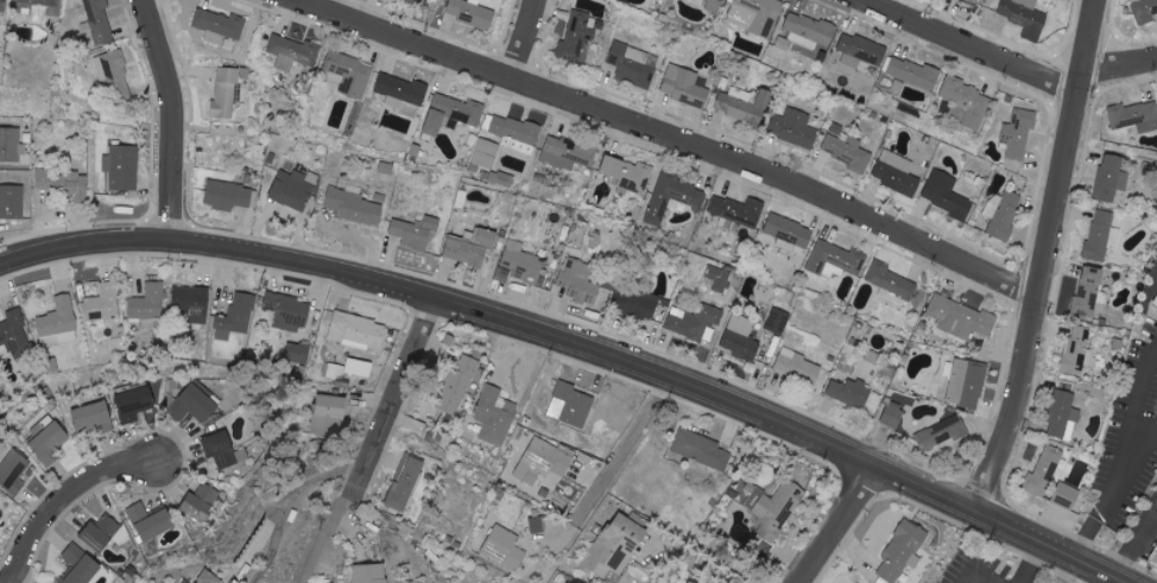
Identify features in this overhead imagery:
building: (418, 1)
road: (873, 1)
building: (967, 1)
building: (4, 5)
building: (713, 5)
building: (40, 7)
building: (1144, 11)
building: (472, 13)
building: (753, 14)
building: (1025, 17)
building: (100, 20)
building: (219, 25)
building: (808, 30)
building: (577, 36)
road: (521, 38)
road: (973, 46)
building: (860, 50)
building: (292, 51)
building: (634, 64)
road: (1120, 69)
building: (912, 72)
building: (350, 74)
building: (113, 75)
building: (684, 87)
building: (227, 90)
building: (402, 90)
building: (967, 101)
building: (744, 107)
building: (453, 114)
building: (1134, 116)
road: (181, 121)
building: (794, 127)
building: (516, 133)
building: (1019, 133)
road: (669, 137)
building: (11, 144)
building: (845, 148)
building: (485, 153)
building: (567, 153)
building: (122, 166)
building: (386, 169)
building: (628, 173)
building: (897, 173)
building: (501, 178)
building: (1111, 178)
building: (65, 183)
building: (292, 190)
building: (228, 195)
building: (947, 195)
building: (672, 197)
building: (12, 201)
building: (354, 205)
building: (738, 210)
building: (1003, 213)
building: (416, 232)
building: (788, 233)
building: (1102, 234)
building: (472, 246)
building: (836, 258)
road: (1044, 260)
building: (521, 262)
building: (716, 278)
building: (578, 279)
building: (891, 283)
road: (410, 284)
building: (1153, 299)
building: (103, 303)
building: (191, 303)
building: (633, 303)
building: (289, 311)
building: (236, 316)
building: (961, 317)
building: (778, 321)
building: (695, 322)
building: (58, 323)
building: (358, 331)
building: (15, 334)
building: (740, 338)
building: (1077, 350)
building: (297, 355)
building: (798, 367)
building: (334, 370)
building: (967, 382)
building: (456, 386)
building: (849, 393)
building: (134, 403)
building: (196, 404)
building: (570, 404)
building: (330, 413)
building: (892, 414)
building: (495, 416)
building: (1062, 416)
building: (94, 417)
road: (1131, 419)
building: (942, 433)
building: (48, 437)
building: (436, 437)
road: (385, 439)
road: (619, 449)
building: (225, 450)
building: (702, 450)
road: (1133, 457)
building: (544, 461)
building: (12, 468)
building: (1044, 470)
building: (407, 482)
building: (1067, 496)
road: (291, 500)
road: (72, 501)
building: (201, 502)
building: (776, 507)
road: (959, 508)
building: (151, 521)
building: (537, 525)
road: (1089, 525)
road: (839, 527)
building: (103, 533)
road: (1134, 543)
building: (615, 546)
building: (505, 547)
building: (903, 551)
building: (1152, 556)
road: (693, 562)
road: (1025, 564)
building: (80, 565)
road: (972, 565)
building: (378, 572)
building: (213, 577)
building: (568, 582)
building: (691, 582)

